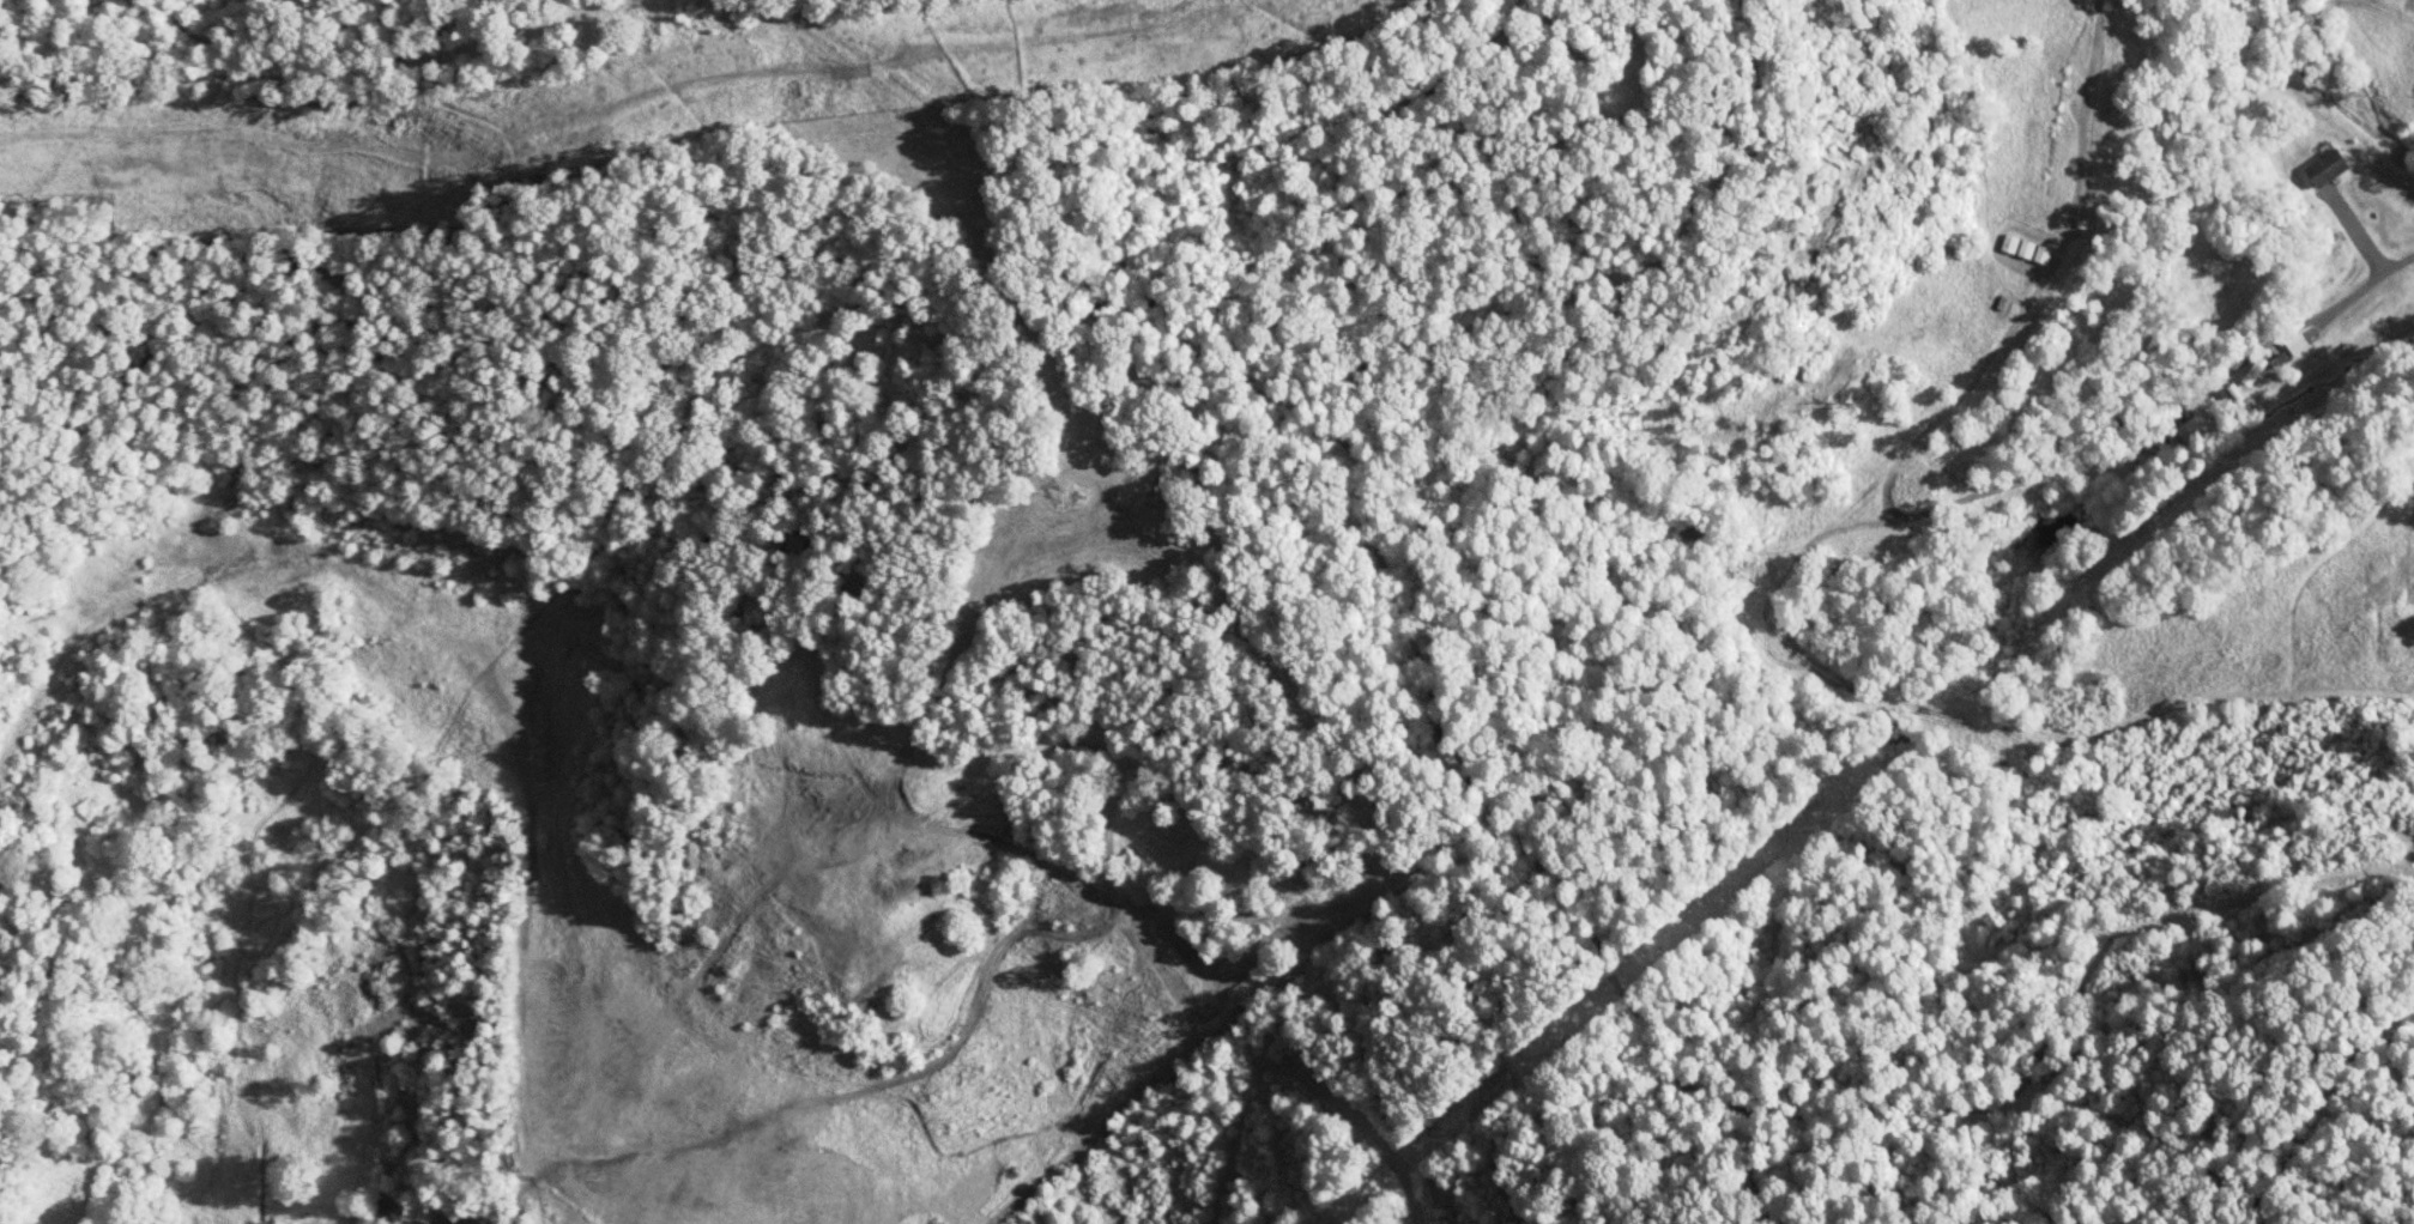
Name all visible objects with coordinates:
building: (2271, 358)
building: (2190, 425)

